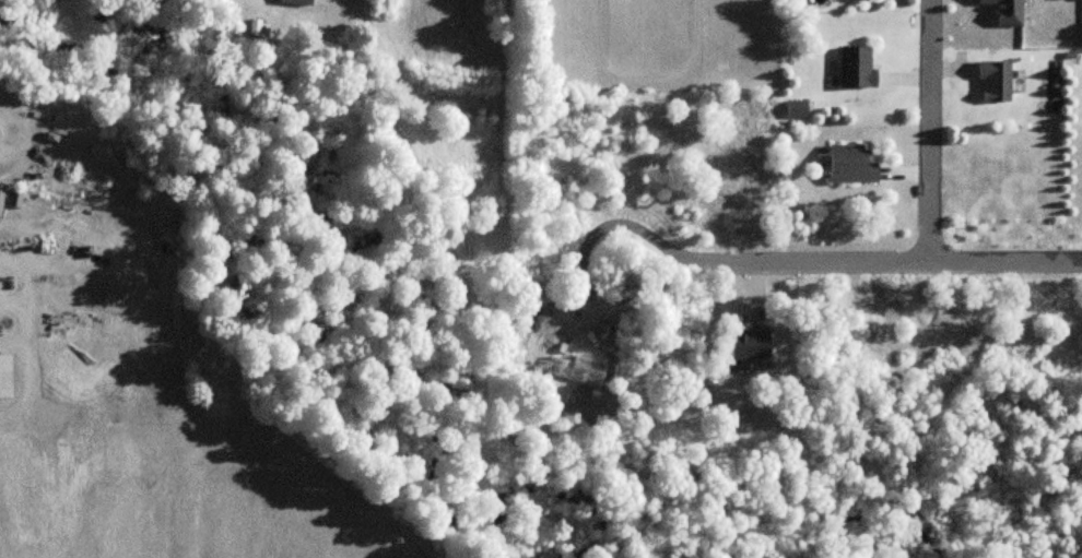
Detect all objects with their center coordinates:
building: (294, 2)
building: (1004, 11)
park: (652, 48)
building: (854, 68)
road: (645, 82)
building: (993, 82)
road: (930, 133)
building: (849, 166)
road: (906, 266)
building: (749, 346)
building: (4, 378)

